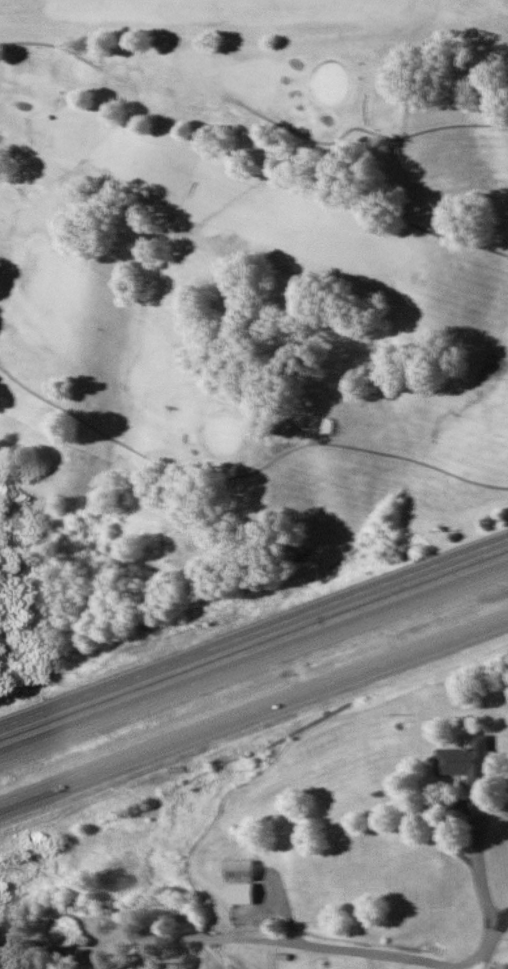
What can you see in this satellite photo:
park: (261, 264)
road: (254, 635)
road: (254, 661)
road: (254, 715)
building: (464, 762)
building: (238, 882)
road: (491, 942)

